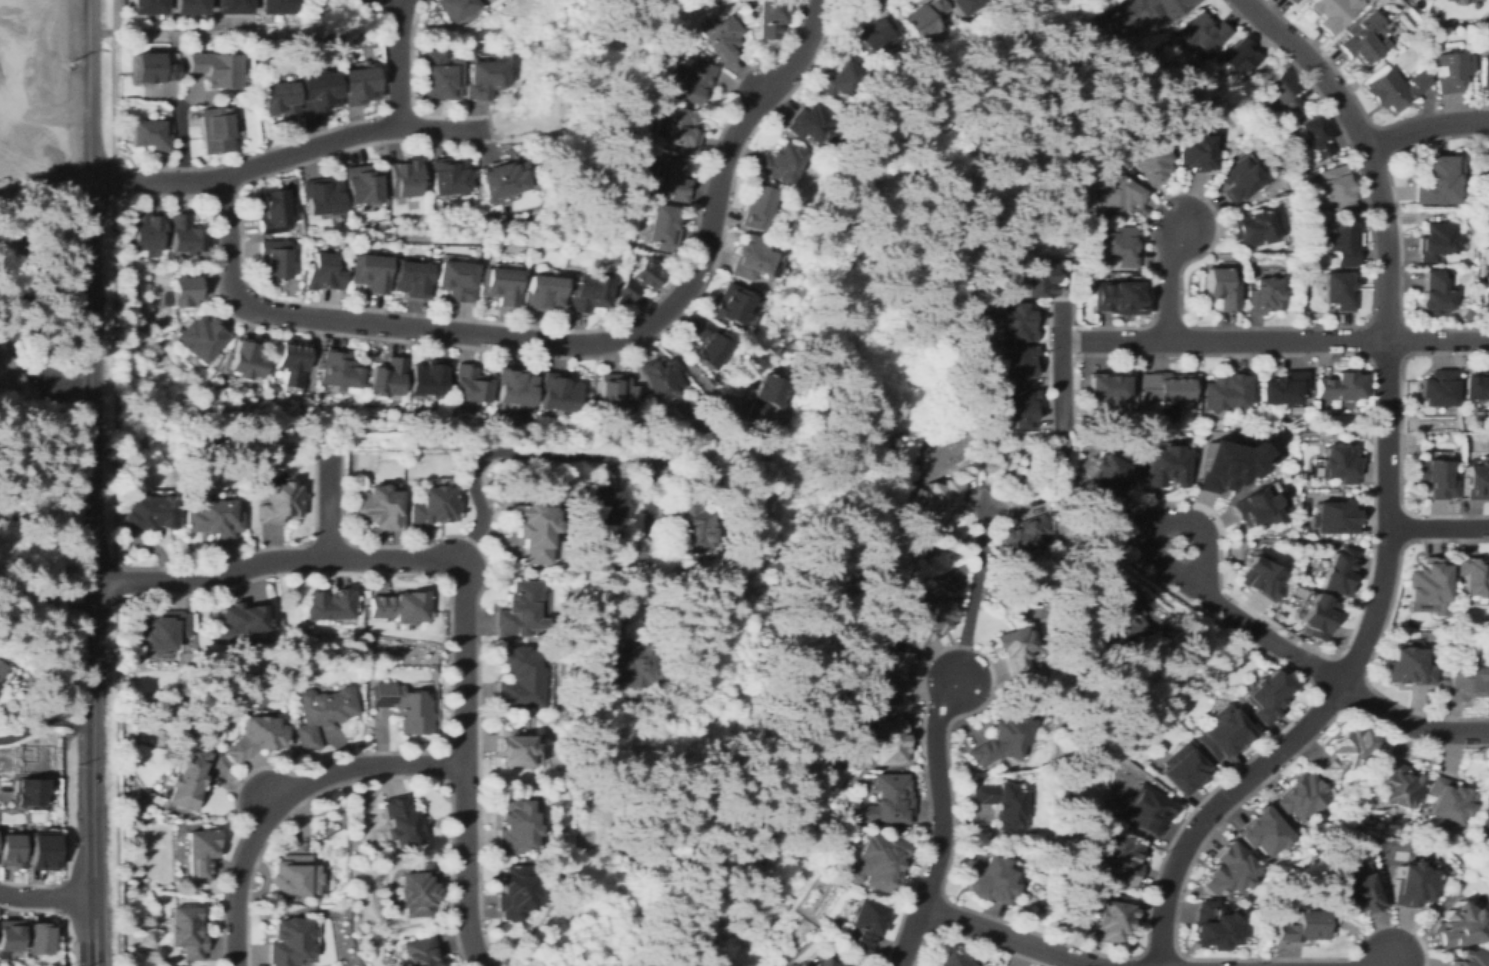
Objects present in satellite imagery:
road: (398, 0)
building: (1290, 1)
building: (1294, 1)
building: (1457, 2)
building: (273, 5)
building: (963, 5)
building: (144, 6)
building: (186, 6)
building: (228, 6)
road: (387, 7)
building: (454, 8)
building: (1144, 11)
building: (1333, 12)
building: (769, 17)
building: (923, 18)
road: (209, 30)
building: (1202, 33)
building: (875, 36)
building: (722, 38)
building: (1359, 47)
road: (98, 48)
building: (1240, 56)
road: (398, 63)
road: (10, 65)
building: (150, 68)
building: (213, 69)
building: (1451, 70)
building: (1484, 71)
building: (440, 75)
building: (485, 77)
building: (692, 80)
building: (840, 81)
building: (359, 85)
building: (1394, 88)
building: (318, 92)
building: (1282, 92)
building: (276, 97)
road: (397, 110)
road: (64, 111)
building: (810, 121)
road: (1426, 128)
building: (215, 129)
building: (679, 130)
building: (148, 134)
building: (1317, 137)
road: (177, 142)
building: (1194, 152)
road: (234, 157)
building: (1486, 160)
building: (781, 162)
building: (1148, 162)
road: (244, 168)
building: (448, 176)
building: (404, 177)
building: (504, 177)
building: (667, 178)
building: (1238, 179)
road: (115, 180)
building: (1438, 181)
building: (362, 184)
building: (1335, 188)
road: (215, 191)
building: (1119, 195)
building: (322, 196)
building: (757, 207)
building: (271, 210)
building: (661, 226)
building: (1252, 228)
building: (146, 230)
building: (184, 233)
building: (1342, 241)
building: (1437, 241)
building: (1118, 246)
building: (274, 257)
building: (753, 258)
building: (369, 271)
building: (322, 272)
building: (645, 273)
building: (411, 278)
building: (1040, 278)
building: (455, 279)
road: (1169, 280)
building: (501, 284)
building: (1221, 287)
building: (626, 289)
building: (184, 290)
building: (1338, 290)
building: (587, 291)
building: (543, 292)
road: (44, 293)
road: (215, 294)
building: (1434, 294)
building: (1486, 294)
building: (1264, 295)
building: (1118, 297)
road: (342, 305)
building: (734, 305)
building: (1017, 323)
building: (202, 337)
road: (1273, 341)
road: (569, 343)
building: (711, 344)
building: (246, 359)
road: (89, 361)
road: (1059, 361)
building: (291, 362)
building: (1019, 365)
building: (338, 369)
building: (428, 376)
building: (387, 377)
building: (659, 377)
building: (10, 378)
building: (469, 383)
building: (1340, 385)
building: (514, 386)
building: (1166, 386)
building: (1476, 386)
building: (1283, 388)
building: (1439, 388)
building: (1110, 390)
building: (558, 391)
building: (1225, 391)
building: (616, 392)
building: (766, 401)
building: (1018, 409)
road: (563, 457)
park: (362, 463)
building: (1338, 463)
building: (1168, 464)
building: (1223, 464)
building: (1111, 478)
building: (1433, 478)
building: (1476, 481)
road: (1388, 497)
building: (279, 501)
road: (328, 502)
building: (433, 505)
building: (605, 505)
building: (940, 505)
building: (380, 507)
building: (1255, 510)
building: (150, 512)
building: (1335, 517)
building: (213, 518)
road: (1158, 520)
building: (696, 526)
building: (534, 528)
road: (1438, 529)
building: (1022, 535)
road: (277, 559)
building: (1341, 571)
road: (384, 572)
building: (1473, 575)
building: (1262, 577)
road: (116, 581)
building: (1429, 586)
road: (975, 591)
road: (45, 594)
building: (329, 605)
building: (399, 605)
building: (519, 611)
road: (1258, 615)
building: (1320, 615)
building: (1124, 617)
building: (242, 618)
building: (929, 621)
building: (162, 629)
road: (476, 637)
building: (1014, 650)
building: (0, 664)
building: (634, 664)
building: (1407, 666)
building: (1, 667)
building: (895, 674)
building: (518, 677)
road: (1332, 678)
building: (1460, 682)
building: (1487, 688)
building: (1270, 695)
building: (403, 705)
building: (321, 714)
road: (44, 721)
building: (1223, 732)
building: (256, 736)
park: (151, 737)
building: (1002, 738)
building: (889, 741)
building: (514, 747)
building: (1343, 752)
building: (31, 758)
road: (465, 763)
building: (1183, 769)
building: (188, 775)
road: (372, 775)
building: (1398, 784)
building: (27, 792)
road: (287, 796)
building: (1302, 796)
building: (890, 799)
building: (1447, 800)
building: (1002, 803)
building: (1484, 806)
building: (1146, 810)
building: (401, 821)
road: (942, 824)
road: (62, 827)
building: (516, 827)
building: (1264, 831)
road: (93, 844)
building: (10, 850)
building: (200, 851)
building: (41, 852)
park: (1393, 854)
building: (1118, 860)
building: (877, 861)
building: (1229, 870)
building: (294, 875)
building: (988, 879)
building: (1412, 884)
building: (417, 889)
building: (515, 892)
building: (1360, 894)
road: (46, 897)
building: (1114, 917)
building: (864, 924)
building: (1460, 926)
building: (1213, 927)
building: (1302, 927)
building: (186, 931)
building: (11, 935)
road: (1007, 937)
building: (39, 938)
road: (972, 938)
building: (289, 941)
building: (420, 951)
road: (69, 955)
building: (949, 958)
building: (1471, 959)
building: (825, 962)
road: (1386, 963)

